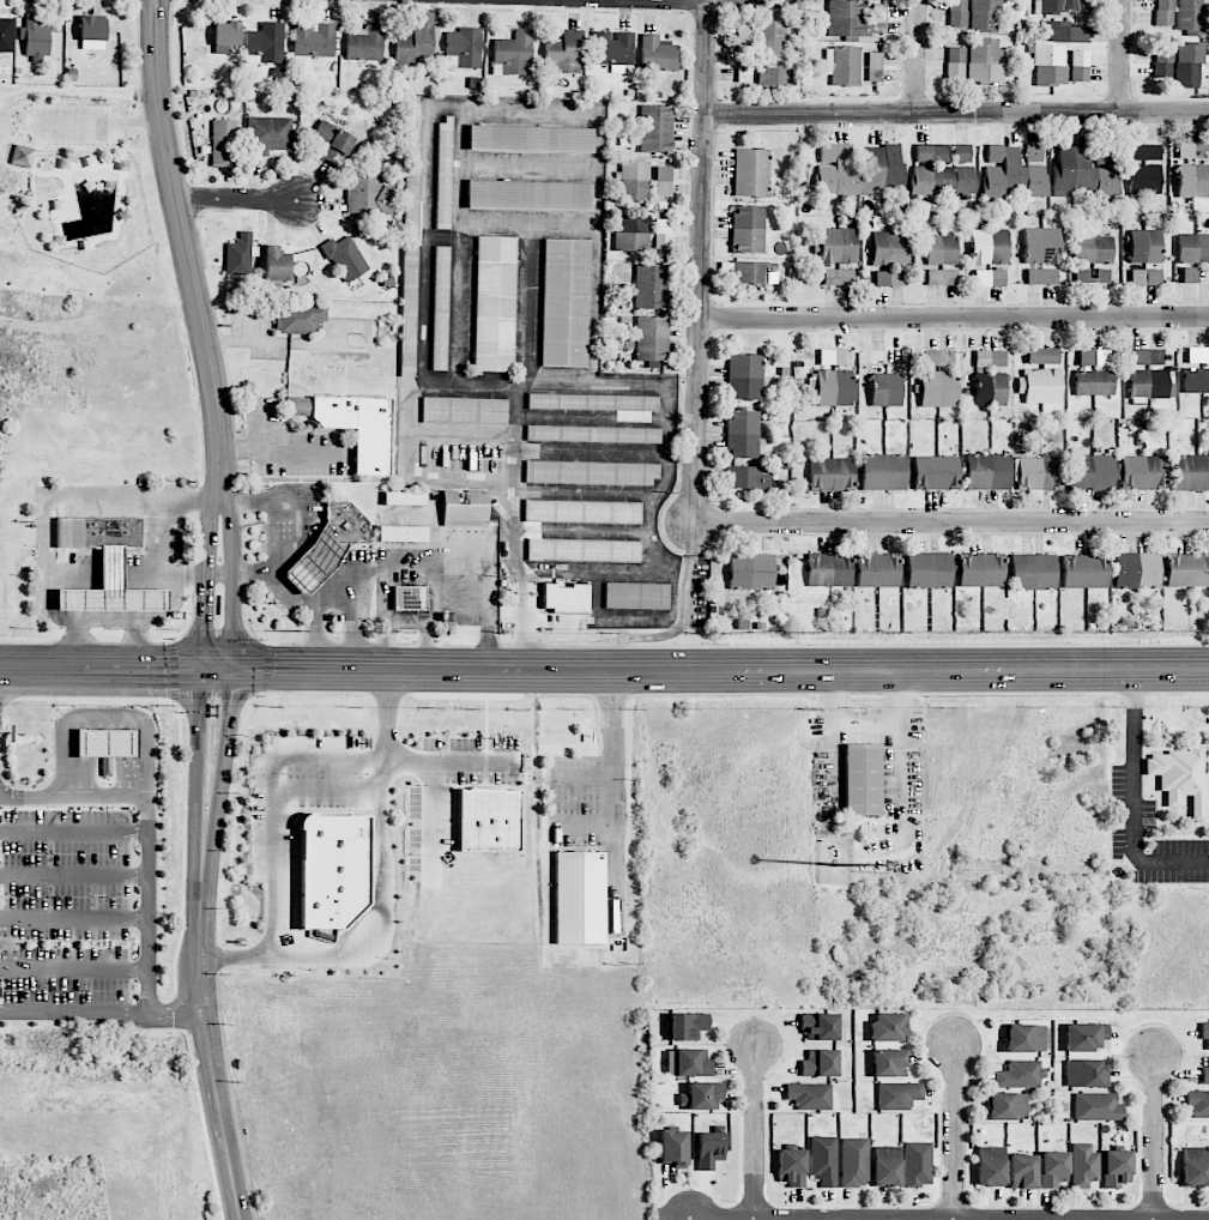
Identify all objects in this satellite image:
road: (688, 0)
road: (746, 0)
building: (1058, 6)
building: (957, 12)
building: (1163, 13)
building: (985, 16)
building: (1190, 17)
building: (878, 18)
building: (847, 19)
building: (92, 32)
building: (225, 34)
building: (743, 35)
building: (36, 37)
building: (6, 40)
building: (313, 40)
building: (770, 40)
building: (415, 42)
building: (265, 43)
building: (364, 43)
building: (612, 49)
building: (564, 52)
building: (1054, 52)
building: (513, 53)
building: (658, 54)
road: (917, 56)
road: (1122, 56)
building: (955, 62)
building: (984, 62)
building: (1162, 62)
building: (844, 65)
building: (1187, 65)
building: (1080, 66)
building: (873, 67)
building: (772, 77)
road: (959, 113)
road: (102, 121)
building: (655, 128)
building: (413, 132)
building: (268, 135)
building: (530, 138)
building: (224, 143)
building: (332, 143)
building: (1192, 150)
building: (1034, 152)
building: (931, 153)
building: (962, 153)
building: (1145, 153)
building: (24, 157)
building: (858, 170)
building: (445, 173)
building: (750, 173)
building: (1083, 173)
building: (1010, 175)
building: (939, 180)
building: (633, 181)
building: (663, 181)
building: (1144, 181)
building: (1192, 181)
building: (368, 195)
building: (528, 195)
road: (238, 198)
building: (748, 229)
building: (631, 232)
building: (661, 234)
building: (838, 246)
building: (1041, 246)
building: (989, 247)
building: (1144, 247)
building: (890, 248)
building: (1192, 248)
building: (941, 249)
building: (1093, 249)
road: (189, 254)
building: (238, 255)
building: (345, 258)
road: (702, 262)
building: (276, 264)
building: (754, 272)
building: (410, 273)
building: (1102, 273)
building: (1041, 276)
building: (1189, 276)
building: (839, 277)
building: (1144, 277)
building: (889, 278)
building: (942, 278)
building: (989, 278)
building: (649, 286)
building: (495, 303)
building: (566, 303)
building: (440, 308)
building: (301, 319)
road: (955, 319)
building: (649, 340)
road: (246, 342)
building: (1041, 356)
building: (834, 357)
building: (1093, 357)
building: (1148, 357)
building: (937, 358)
building: (990, 358)
building: (744, 376)
building: (1196, 380)
building: (1093, 382)
building: (1149, 385)
road: (550, 386)
building: (1039, 386)
building: (835, 388)
building: (938, 388)
building: (990, 388)
building: (885, 389)
building: (593, 401)
building: (465, 411)
building: (355, 427)
building: (593, 434)
building: (742, 434)
road: (278, 451)
building: (883, 472)
building: (936, 472)
building: (987, 472)
building: (1090, 472)
building: (1143, 472)
building: (592, 473)
building: (832, 473)
building: (1039, 473)
building: (1191, 473)
building: (746, 477)
building: (405, 499)
building: (465, 508)
road: (274, 511)
building: (581, 512)
building: (346, 524)
road: (950, 524)
road: (175, 527)
building: (98, 532)
building: (401, 533)
building: (584, 550)
building: (314, 562)
gas station: (314, 562)
building: (750, 570)
building: (829, 570)
building: (877, 570)
building: (929, 570)
building: (980, 570)
building: (1136, 570)
building: (1187, 570)
building: (1033, 572)
building: (1084, 572)
road: (218, 573)
road: (490, 574)
road: (202, 582)
road: (232, 584)
road: (434, 585)
building: (113, 590)
gas station: (113, 590)
building: (636, 596)
building: (410, 598)
building: (566, 598)
road: (309, 600)
road: (171, 609)
road: (108, 621)
road: (334, 623)
road: (389, 626)
traffic signals: (202, 627)
road: (522, 628)
road: (419, 652)
traffic signals: (163, 664)
road: (204, 664)
traffic signals: (271, 665)
road: (808, 668)
traffic signals: (229, 703)
road: (389, 715)
road: (103, 723)
road: (869, 724)
gas station: (107, 742)
building: (107, 743)
road: (198, 748)
road: (224, 748)
road: (451, 765)
building: (107, 766)
building: (1179, 775)
road: (585, 777)
building: (862, 778)
road: (613, 796)
road: (1136, 801)
road: (272, 814)
building: (488, 820)
road: (586, 821)
road: (436, 822)
building: (332, 870)
road: (201, 894)
building: (580, 898)
road: (146, 901)
road: (383, 949)
road: (171, 1015)
building: (687, 1026)
building: (818, 1026)
building: (888, 1027)
building: (1204, 1033)
building: (1086, 1037)
building: (1023, 1038)
building: (688, 1063)
building: (820, 1063)
building: (888, 1063)
building: (1205, 1073)
building: (1020, 1074)
building: (1086, 1074)
road: (216, 1091)
building: (701, 1095)
building: (809, 1095)
building: (897, 1095)
building: (1197, 1103)
building: (1005, 1106)
building: (1096, 1107)
road: (756, 1134)
road: (956, 1135)
road: (1155, 1139)
building: (673, 1147)
building: (709, 1149)
building: (822, 1160)
building: (853, 1162)
building: (917, 1164)
building: (884, 1166)
building: (990, 1166)
building: (1083, 1166)
building: (791, 1167)
building: (1195, 1167)
building: (1053, 1168)
building: (1116, 1168)
building: (1022, 1172)

